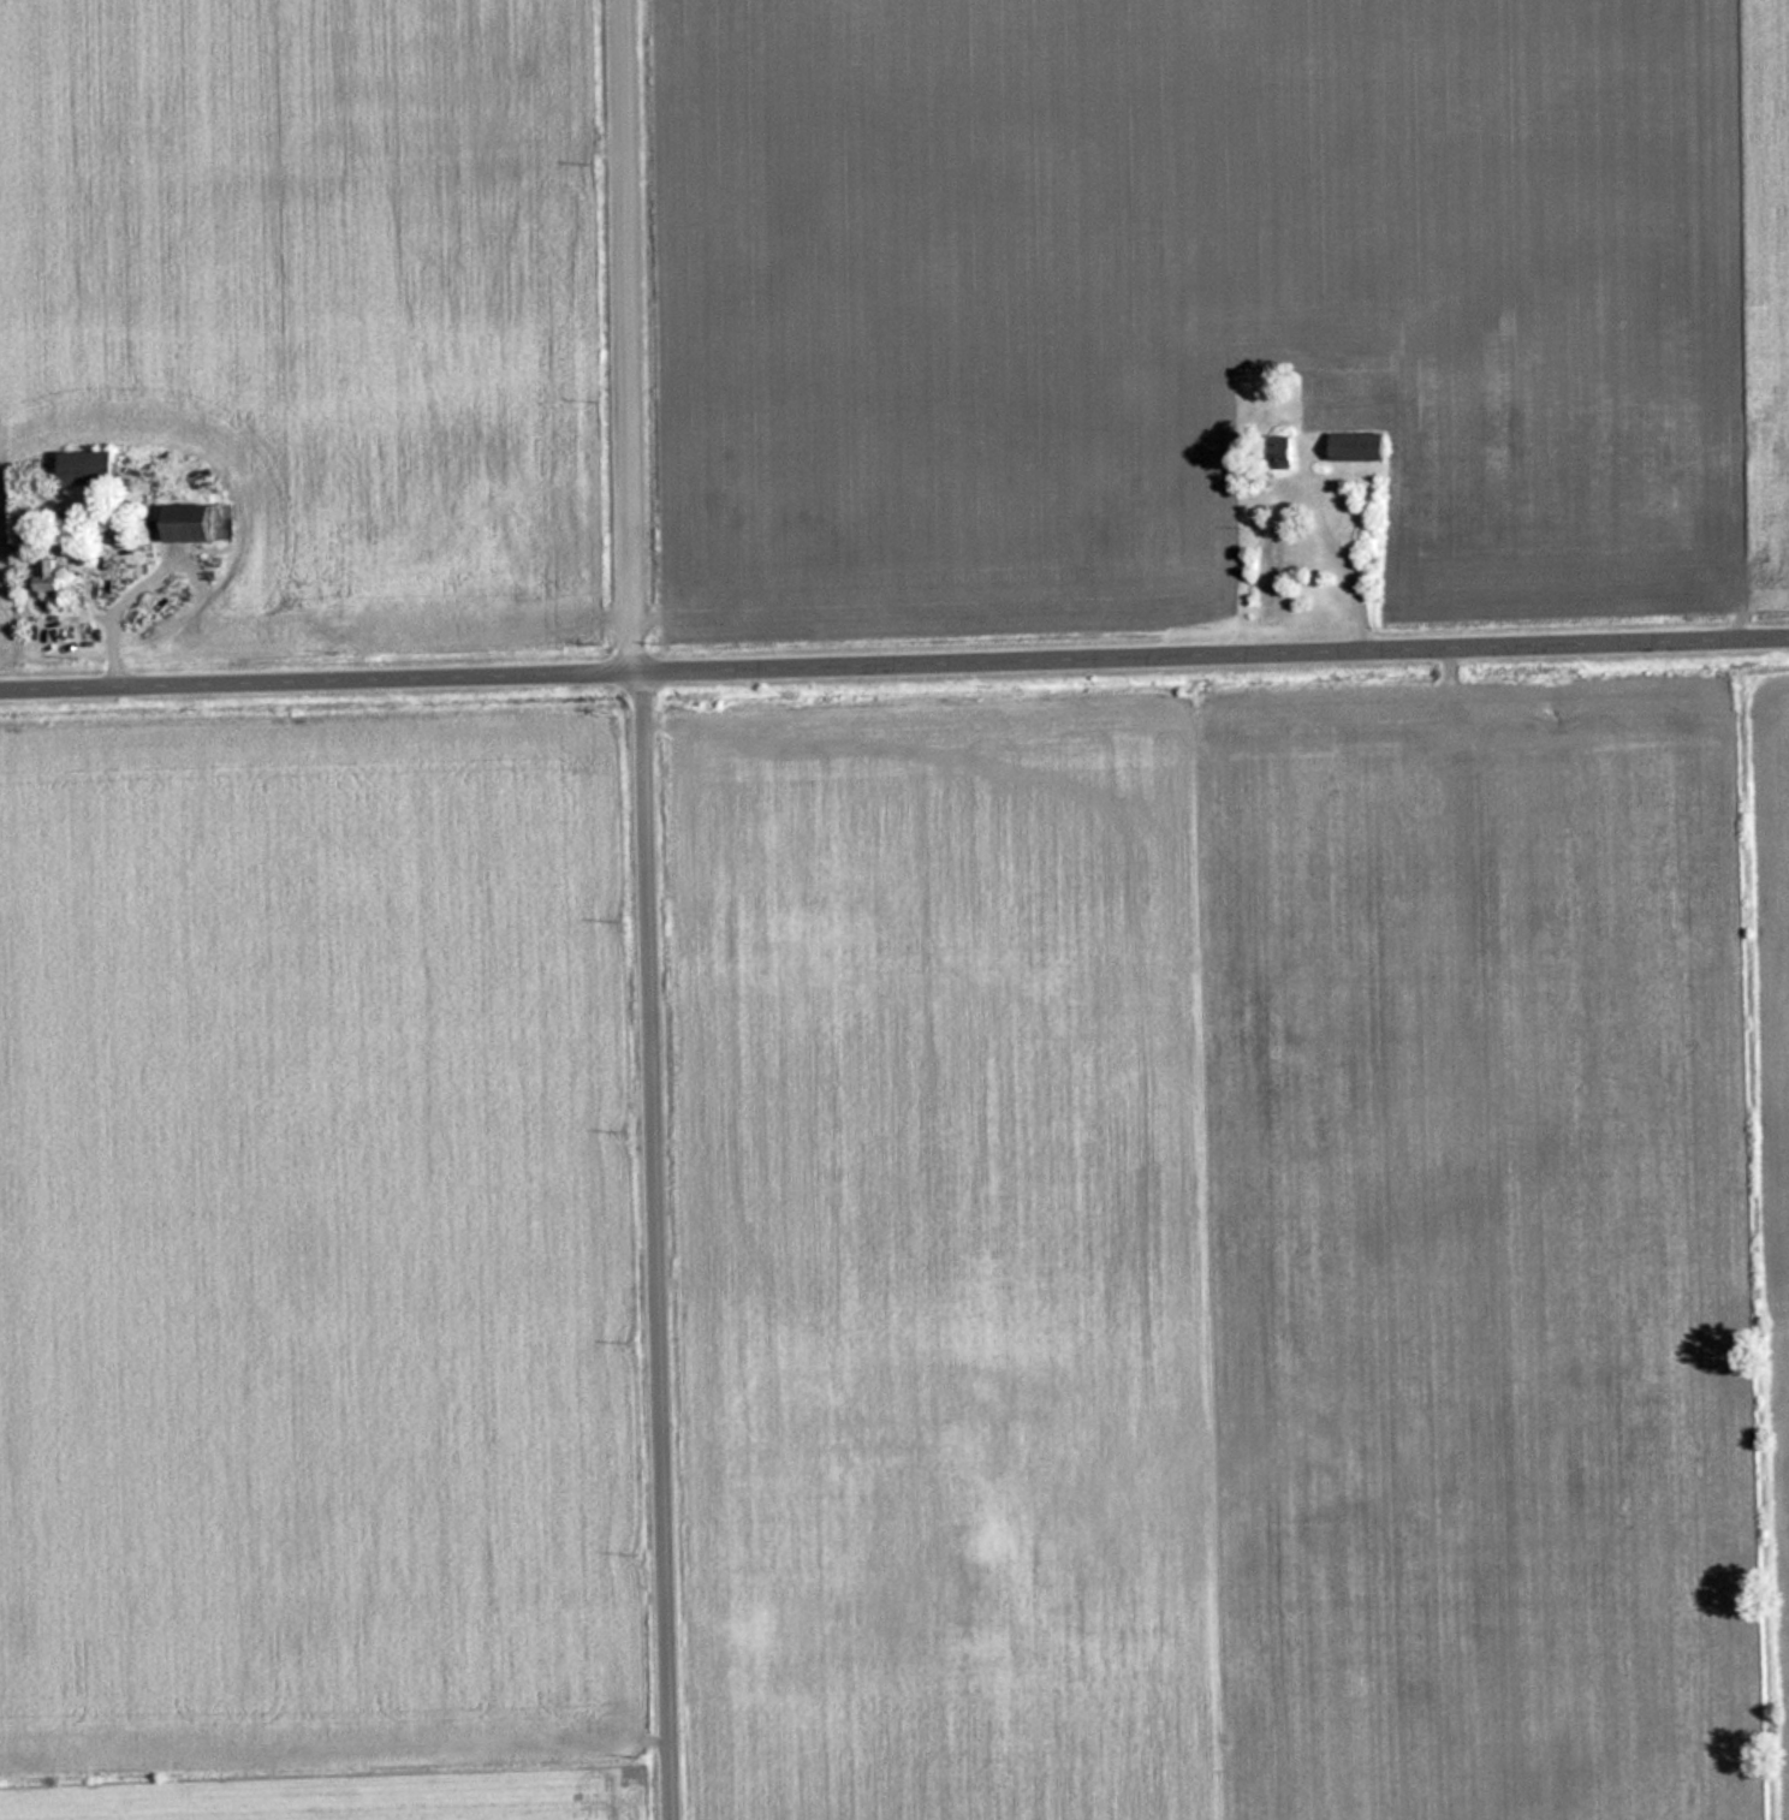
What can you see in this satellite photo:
building: (1361, 445)
building: (1285, 457)
building: (91, 466)
building: (194, 522)
building: (53, 573)
road: (895, 662)
road: (659, 909)

